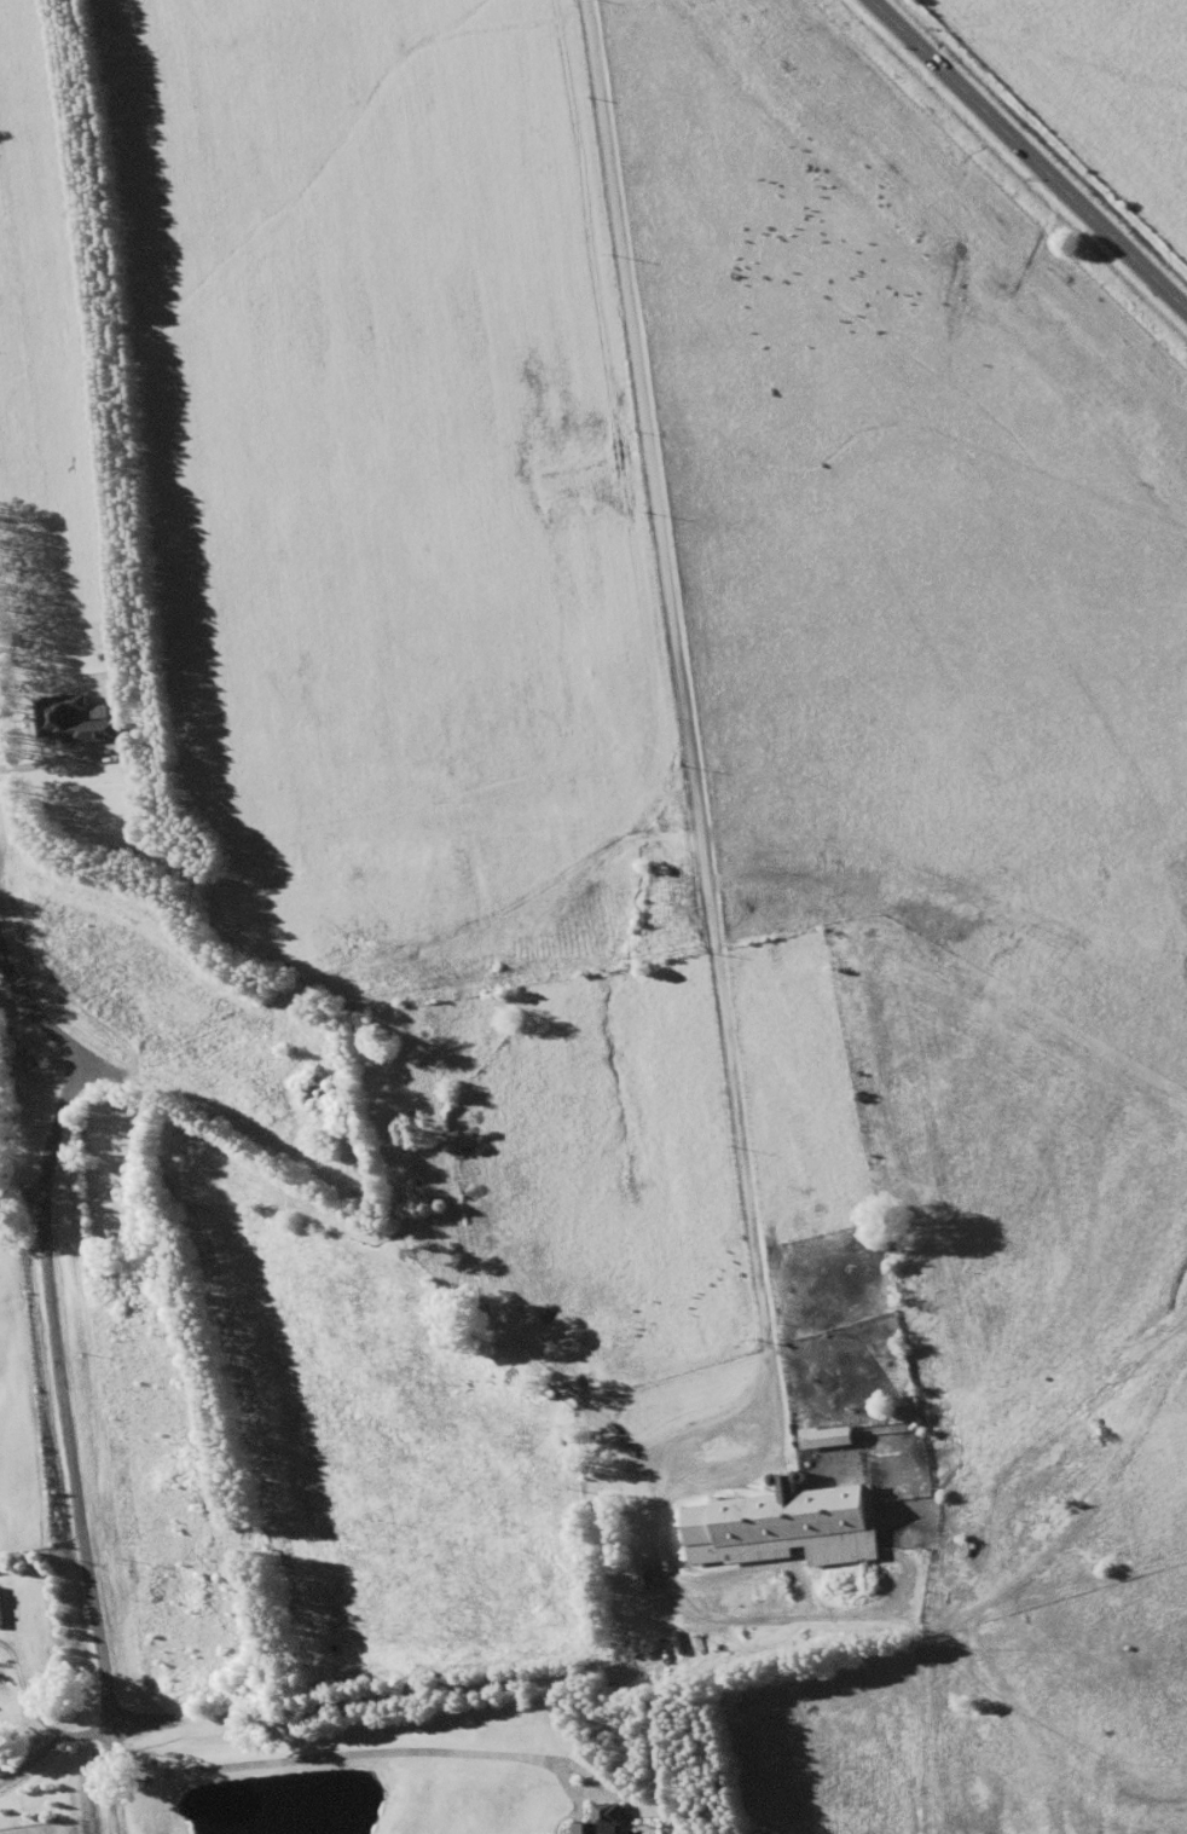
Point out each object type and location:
road: (1013, 161)
road: (633, 751)
building: (887, 1243)
road: (57, 1326)
road: (579, 1437)
building: (824, 1437)
building: (783, 1525)
road: (326, 1706)
building: (627, 1824)

